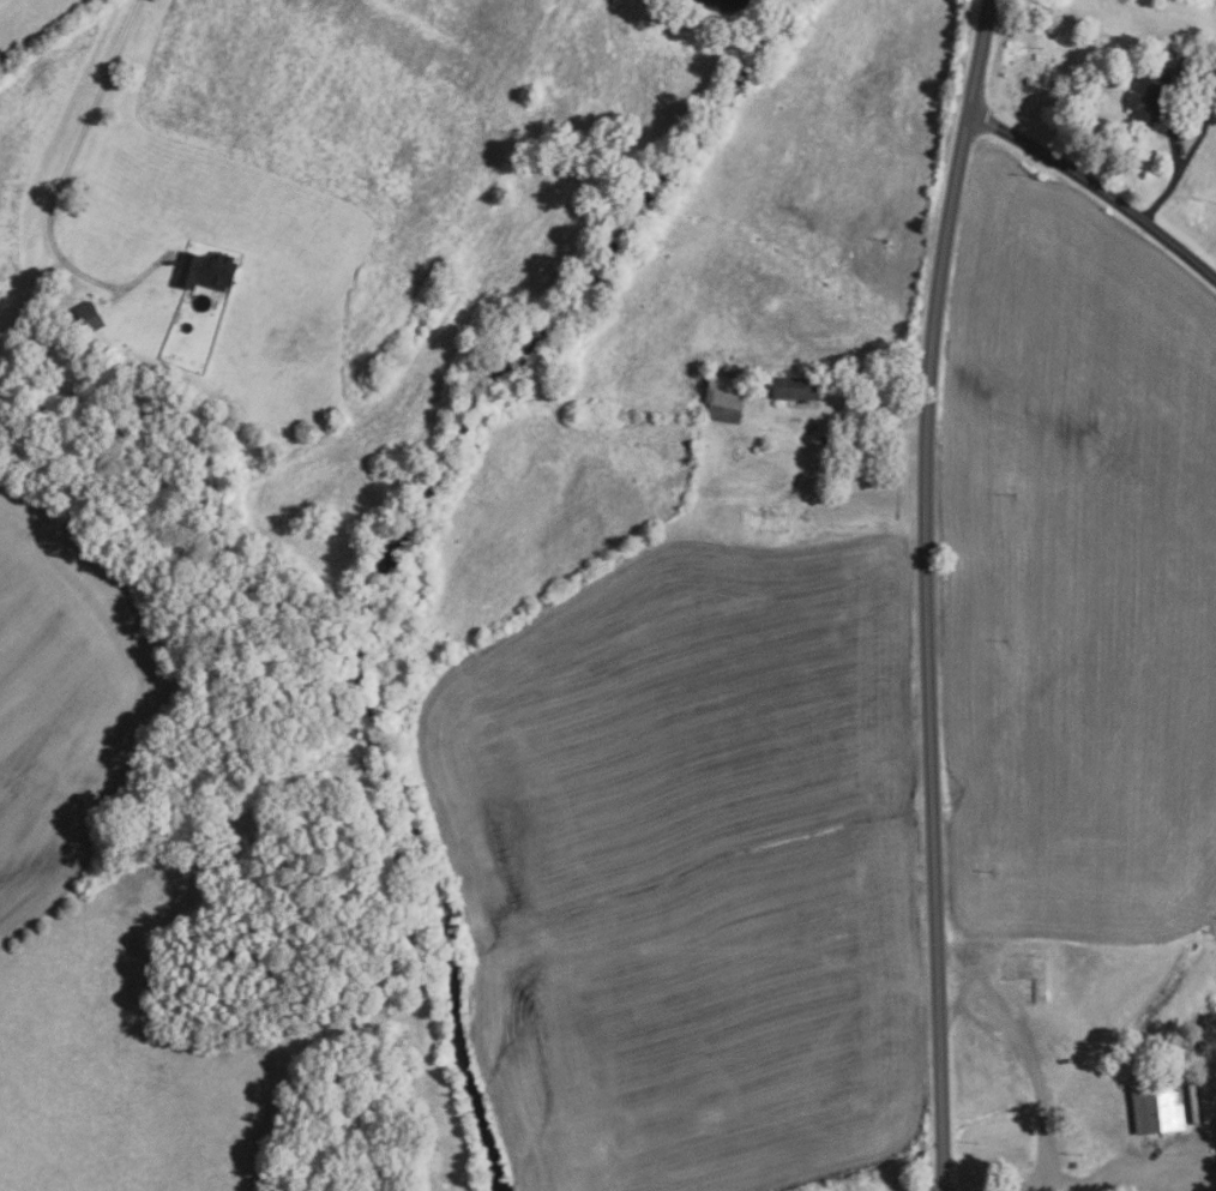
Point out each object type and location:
building: (1181, 64)
building: (1148, 91)
road: (1169, 110)
road: (61, 180)
road: (1097, 188)
building: (206, 271)
building: (89, 317)
building: (796, 389)
building: (724, 396)
road: (925, 593)
road: (967, 1012)
road: (1027, 1047)
building: (1157, 1103)
road: (1086, 1184)

